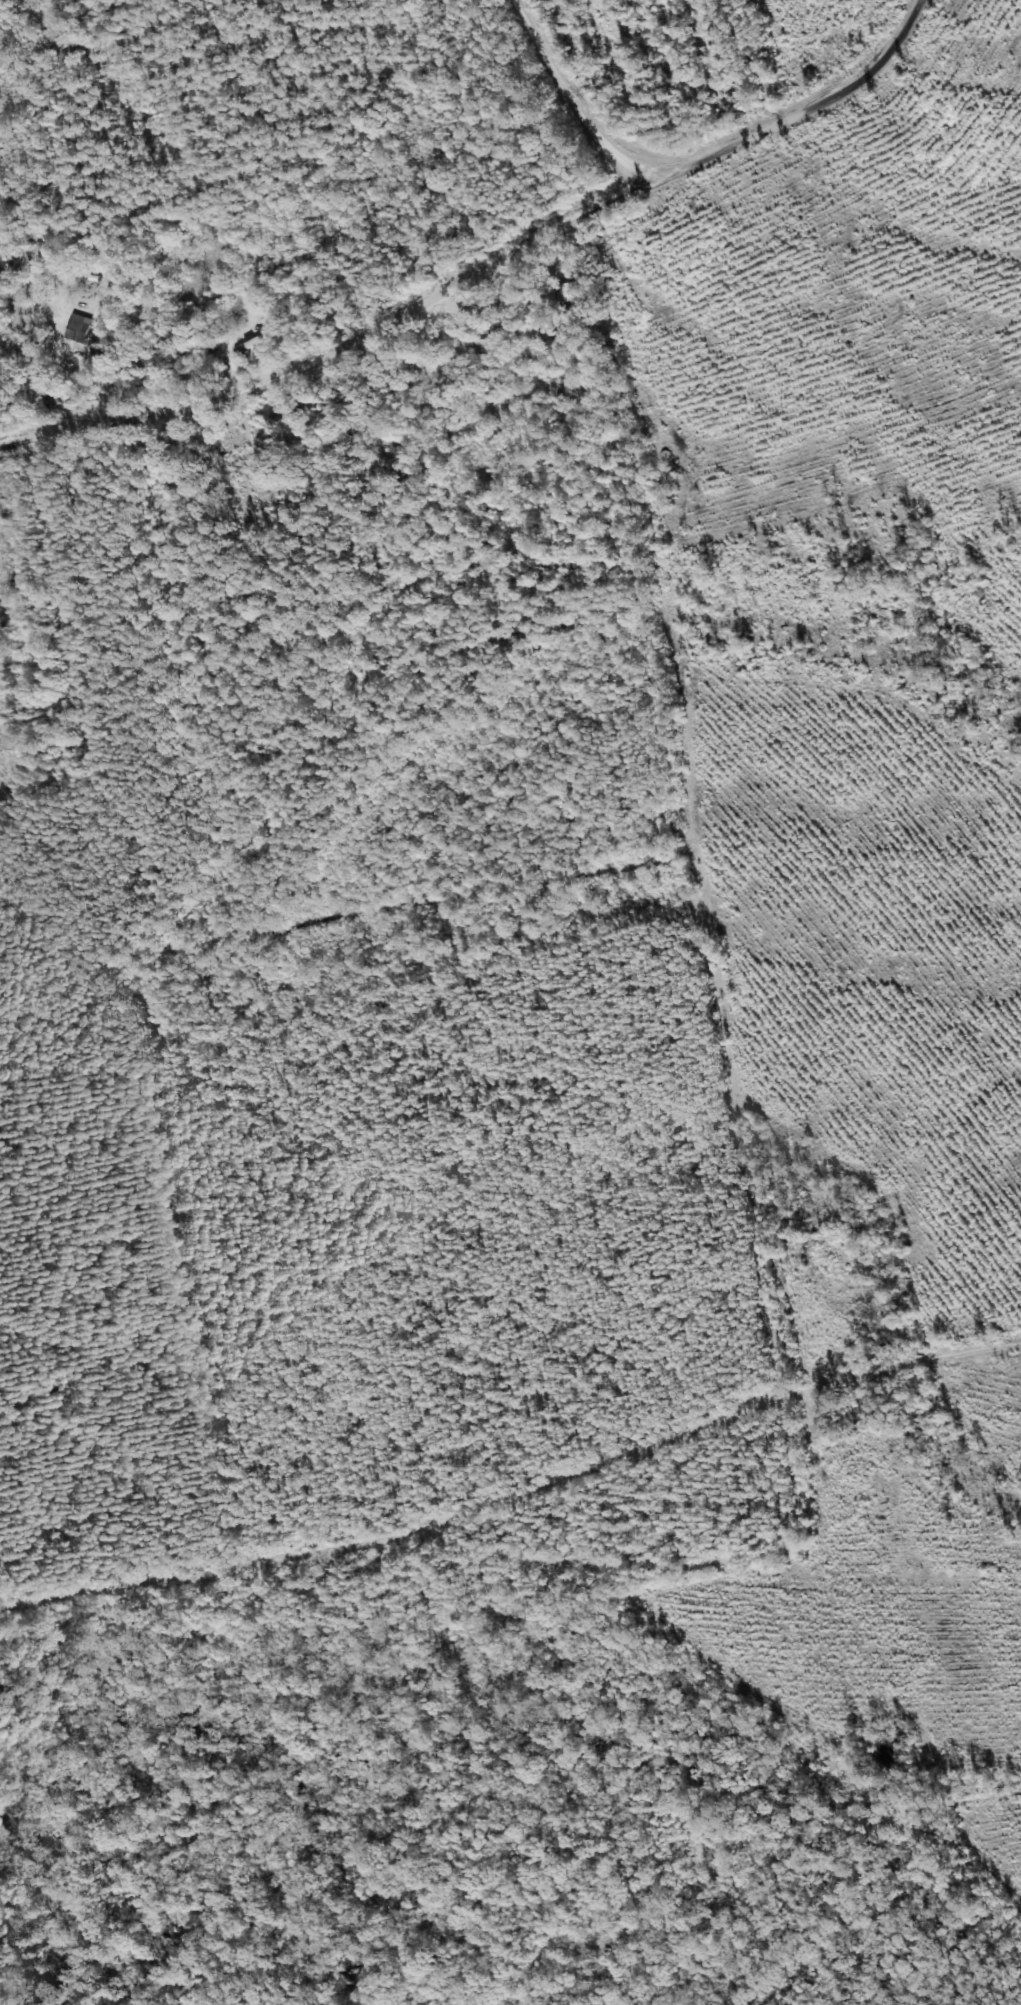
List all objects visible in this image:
road: (496, 258)
road: (510, 1486)
road: (870, 1815)

